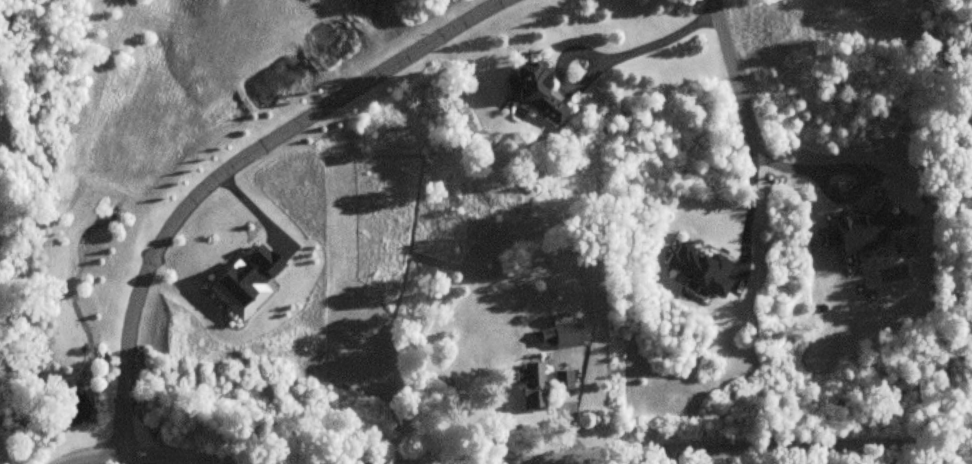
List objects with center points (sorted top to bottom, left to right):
road: (603, 60)
building: (539, 90)
road: (750, 124)
road: (231, 170)
road: (833, 194)
building: (564, 334)
building: (542, 383)
road: (624, 453)
road: (131, 458)
road: (1, 460)

